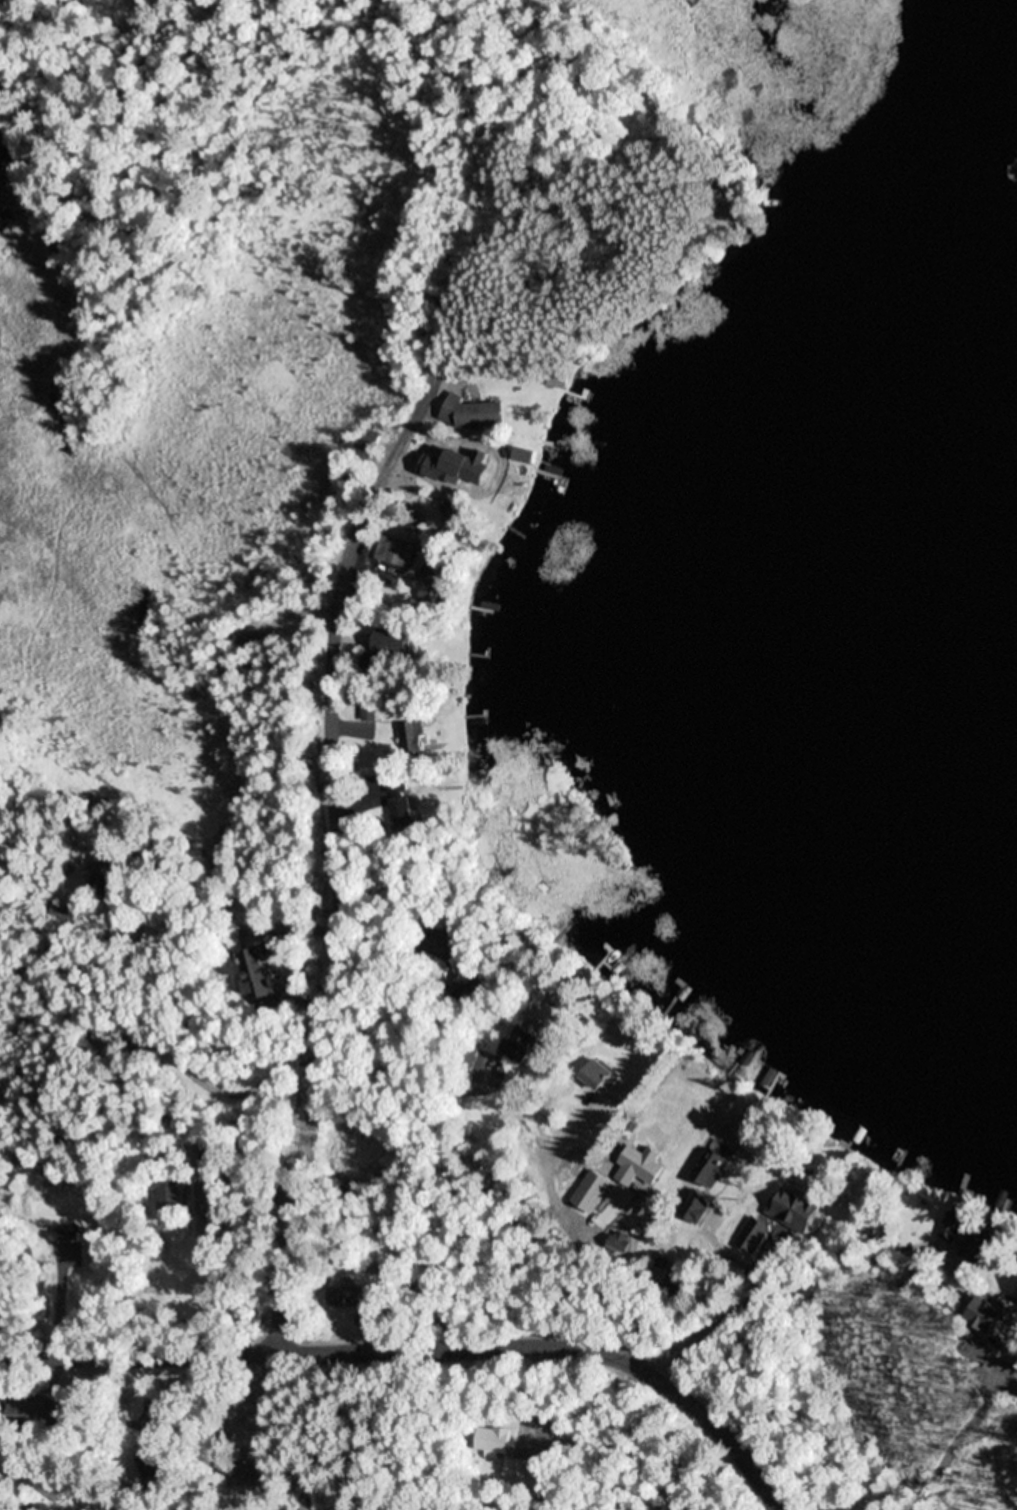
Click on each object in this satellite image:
building: (559, 374)
building: (473, 413)
building: (374, 434)
building: (369, 447)
building: (525, 456)
building: (358, 457)
building: (365, 463)
building: (436, 475)
building: (494, 477)
building: (352, 481)
building: (457, 514)
building: (414, 523)
building: (400, 553)
building: (437, 581)
building: (391, 644)
building: (383, 709)
building: (414, 738)
building: (399, 781)
road: (341, 806)
building: (405, 813)
building: (383, 827)
building: (110, 884)
building: (428, 917)
building: (61, 920)
road: (489, 973)
building: (256, 974)
road: (419, 987)
building: (461, 989)
building: (524, 1042)
building: (467, 1055)
building: (599, 1074)
building: (633, 1125)
building: (644, 1163)
building: (712, 1165)
building: (169, 1193)
building: (699, 1202)
building: (795, 1208)
building: (754, 1234)
building: (979, 1239)
building: (620, 1241)
building: (663, 1263)
road: (773, 1278)
building: (678, 1281)
building: (5, 1288)
building: (653, 1288)
building: (356, 1295)
building: (693, 1319)
road: (427, 1347)
road: (935, 1385)
building: (42, 1412)
building: (174, 1427)
road: (958, 1436)
building: (495, 1439)
building: (235, 1453)
building: (148, 1466)
building: (521, 1468)
building: (262, 1476)
building: (53, 1486)
building: (25, 1499)

